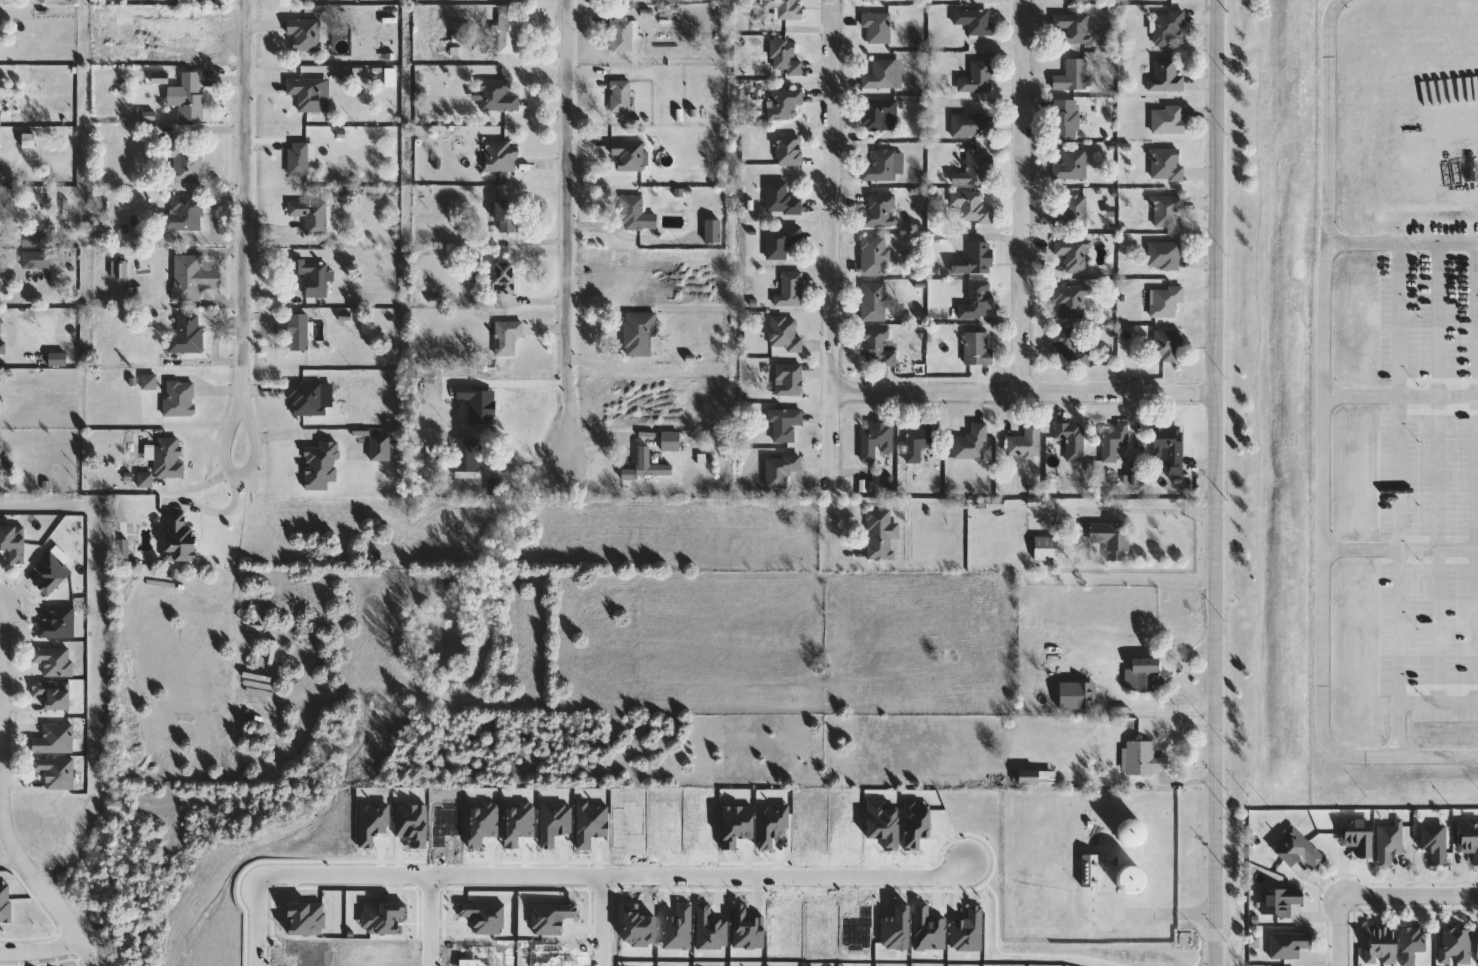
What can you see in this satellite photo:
building: (876, 0)
building: (785, 8)
building: (135, 17)
building: (974, 20)
building: (878, 27)
building: (1074, 27)
building: (1169, 27)
building: (509, 33)
building: (305, 34)
building: (623, 36)
building: (785, 57)
building: (882, 75)
building: (1167, 75)
building: (1072, 76)
building: (978, 78)
building: (306, 94)
building: (192, 96)
building: (621, 96)
building: (498, 97)
building: (785, 104)
building: (878, 112)
building: (1066, 119)
building: (1168, 120)
building: (972, 125)
building: (789, 150)
building: (630, 155)
building: (502, 157)
building: (299, 159)
building: (186, 162)
building: (1167, 164)
building: (1072, 165)
building: (881, 167)
building: (975, 169)
road: (1023, 197)
building: (781, 199)
building: (972, 206)
building: (1074, 210)
building: (881, 211)
building: (1168, 211)
building: (185, 214)
building: (636, 214)
building: (311, 215)
building: (504, 215)
building: (711, 231)
road: (568, 232)
building: (33, 241)
building: (782, 241)
road: (1356, 243)
road: (833, 246)
building: (1075, 254)
building: (1165, 255)
building: (875, 256)
building: (38, 259)
building: (975, 259)
building: (120, 269)
building: (0, 272)
road: (246, 274)
building: (313, 277)
building: (193, 278)
building: (504, 279)
building: (791, 289)
road: (20, 293)
building: (979, 301)
building: (1071, 301)
building: (1166, 301)
building: (874, 302)
building: (299, 333)
building: (640, 334)
building: (785, 334)
building: (188, 335)
building: (2, 337)
building: (508, 338)
building: (1168, 346)
building: (876, 348)
building: (978, 349)
building: (1070, 349)
building: (789, 380)
road: (1397, 394)
road: (1026, 395)
building: (180, 399)
building: (307, 400)
road: (241, 411)
building: (786, 424)
road: (1394, 430)
building: (1073, 440)
building: (671, 441)
building: (877, 441)
building: (919, 442)
building: (1115, 442)
building: (1027, 443)
building: (973, 444)
building: (380, 448)
building: (1169, 448)
road: (1316, 450)
building: (466, 456)
building: (170, 458)
building: (6, 466)
building: (321, 467)
building: (647, 467)
road: (1434, 470)
road: (1474, 470)
building: (781, 471)
road: (1219, 483)
building: (882, 535)
building: (179, 539)
building: (1112, 540)
building: (14, 543)
road: (1396, 547)
building: (1046, 549)
building: (52, 574)
road: (238, 604)
building: (60, 624)
building: (56, 661)
building: (1144, 675)
building: (53, 694)
building: (1087, 696)
road: (1435, 701)
road: (1393, 728)
building: (55, 739)
building: (1145, 759)
building: (57, 772)
building: (1026, 777)
building: (1130, 832)
building: (1356, 835)
building: (1468, 837)
building: (1387, 841)
building: (1433, 842)
building: (1297, 849)
road: (11, 862)
building: (1091, 871)
road: (616, 875)
building: (1130, 880)
road: (44, 892)
road: (1409, 895)
building: (1278, 900)
road: (1157, 914)
road: (258, 919)
road: (431, 920)
road: (603, 920)
road: (1340, 931)
building: (1410, 943)
building: (1288, 944)
building: (1379, 944)
building: (1476, 944)
building: (1454, 945)
road: (40, 950)

